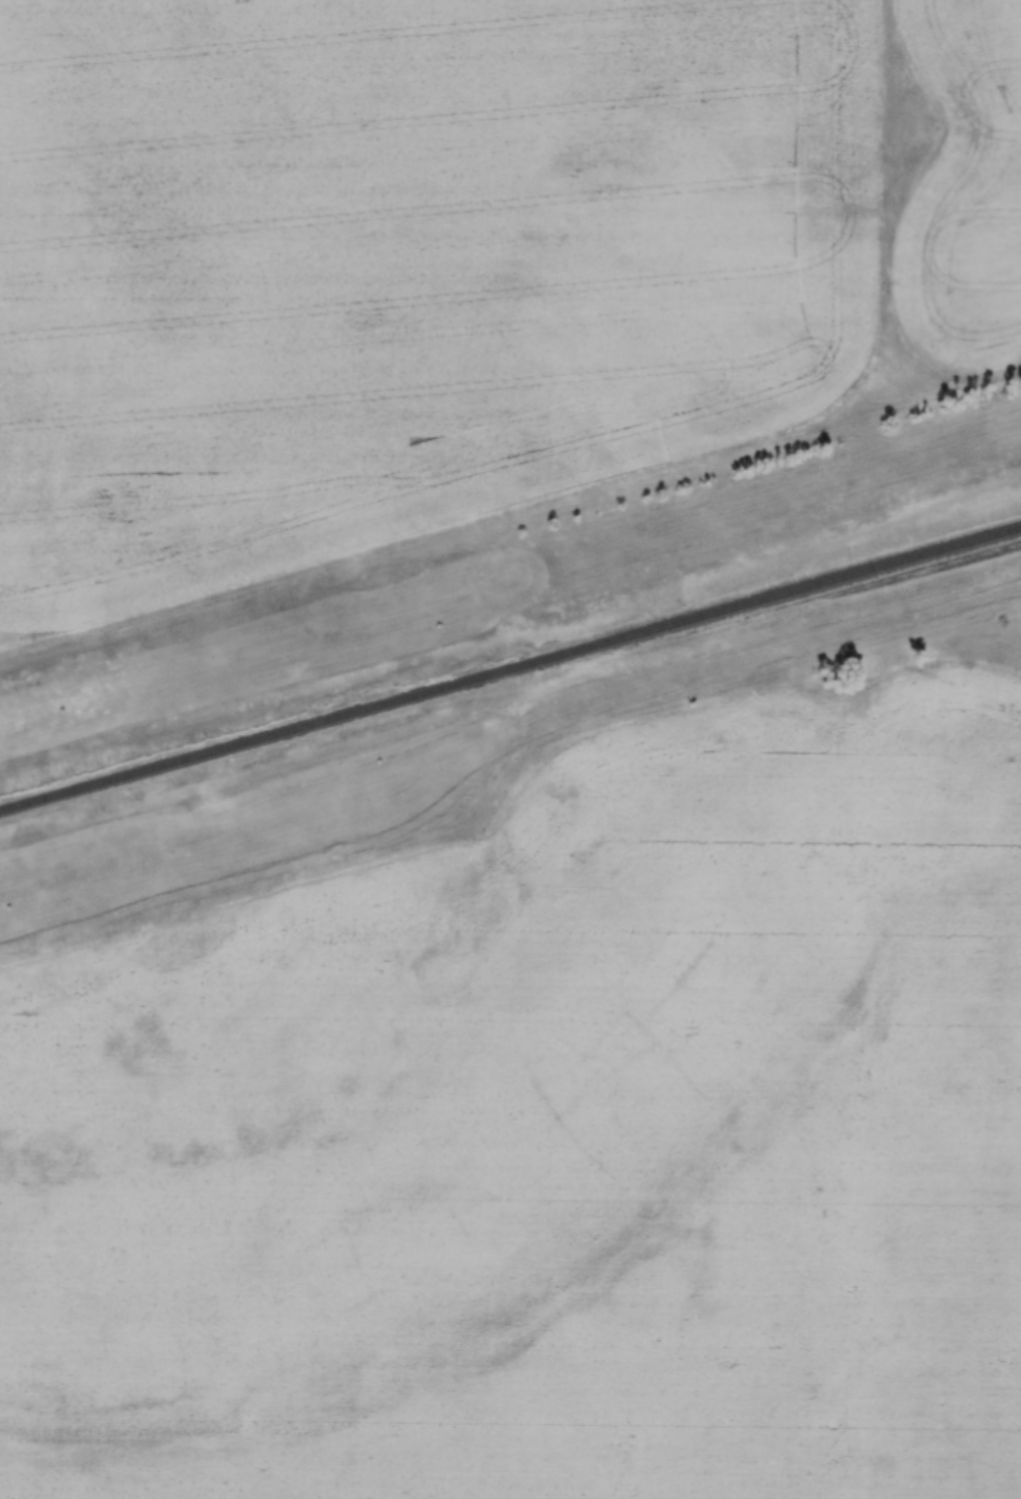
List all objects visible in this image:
railway: (510, 674)

